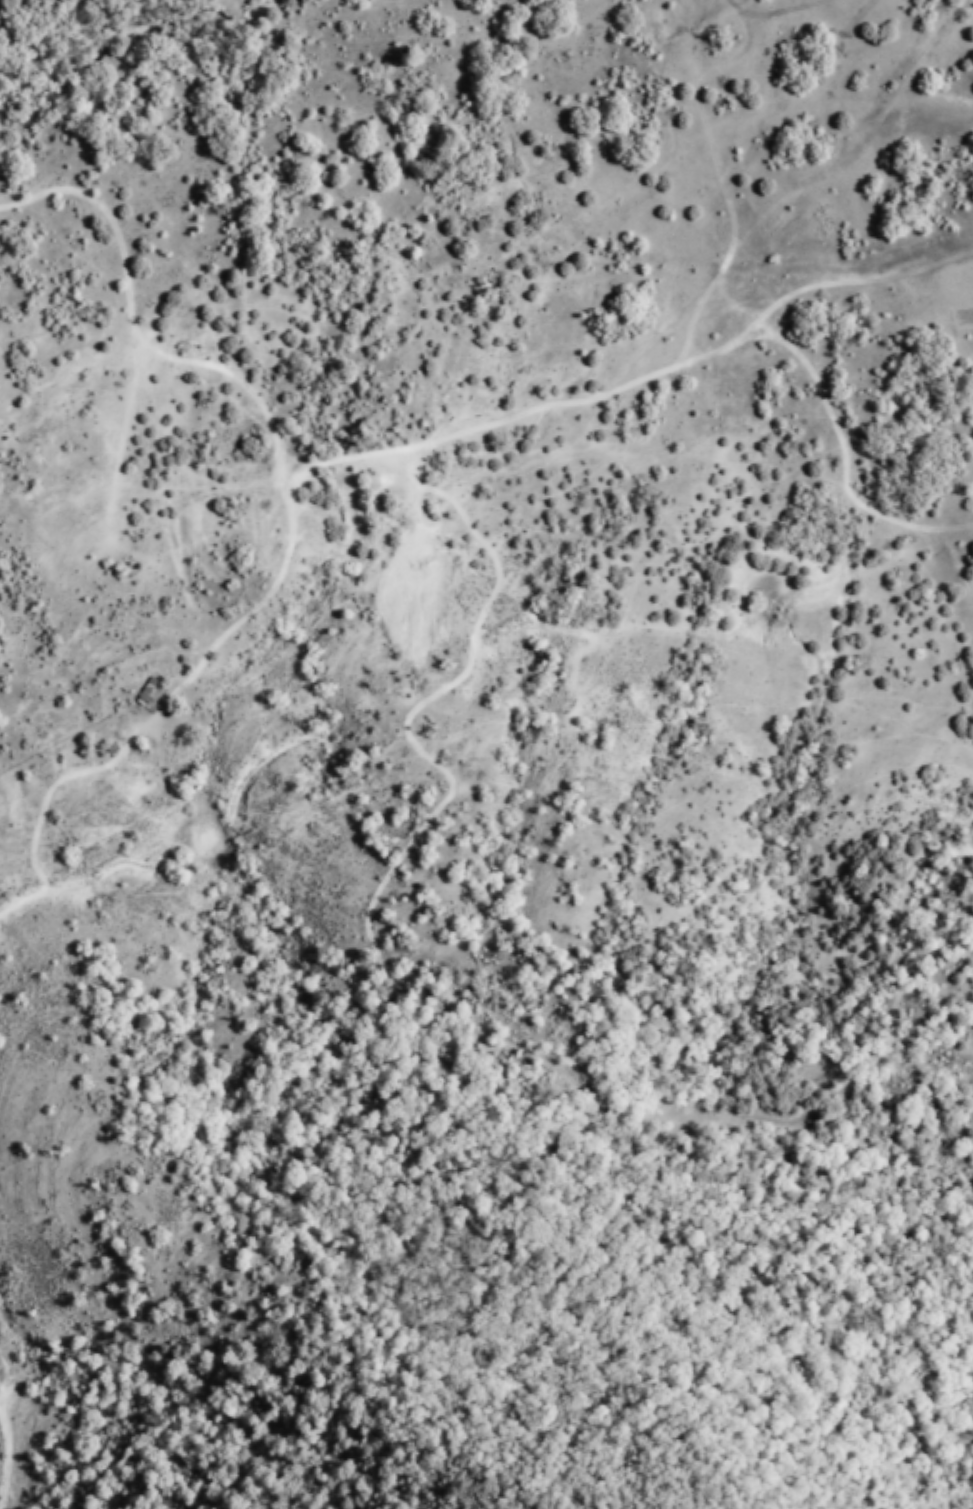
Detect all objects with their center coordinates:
road: (453, 379)
building: (149, 690)

